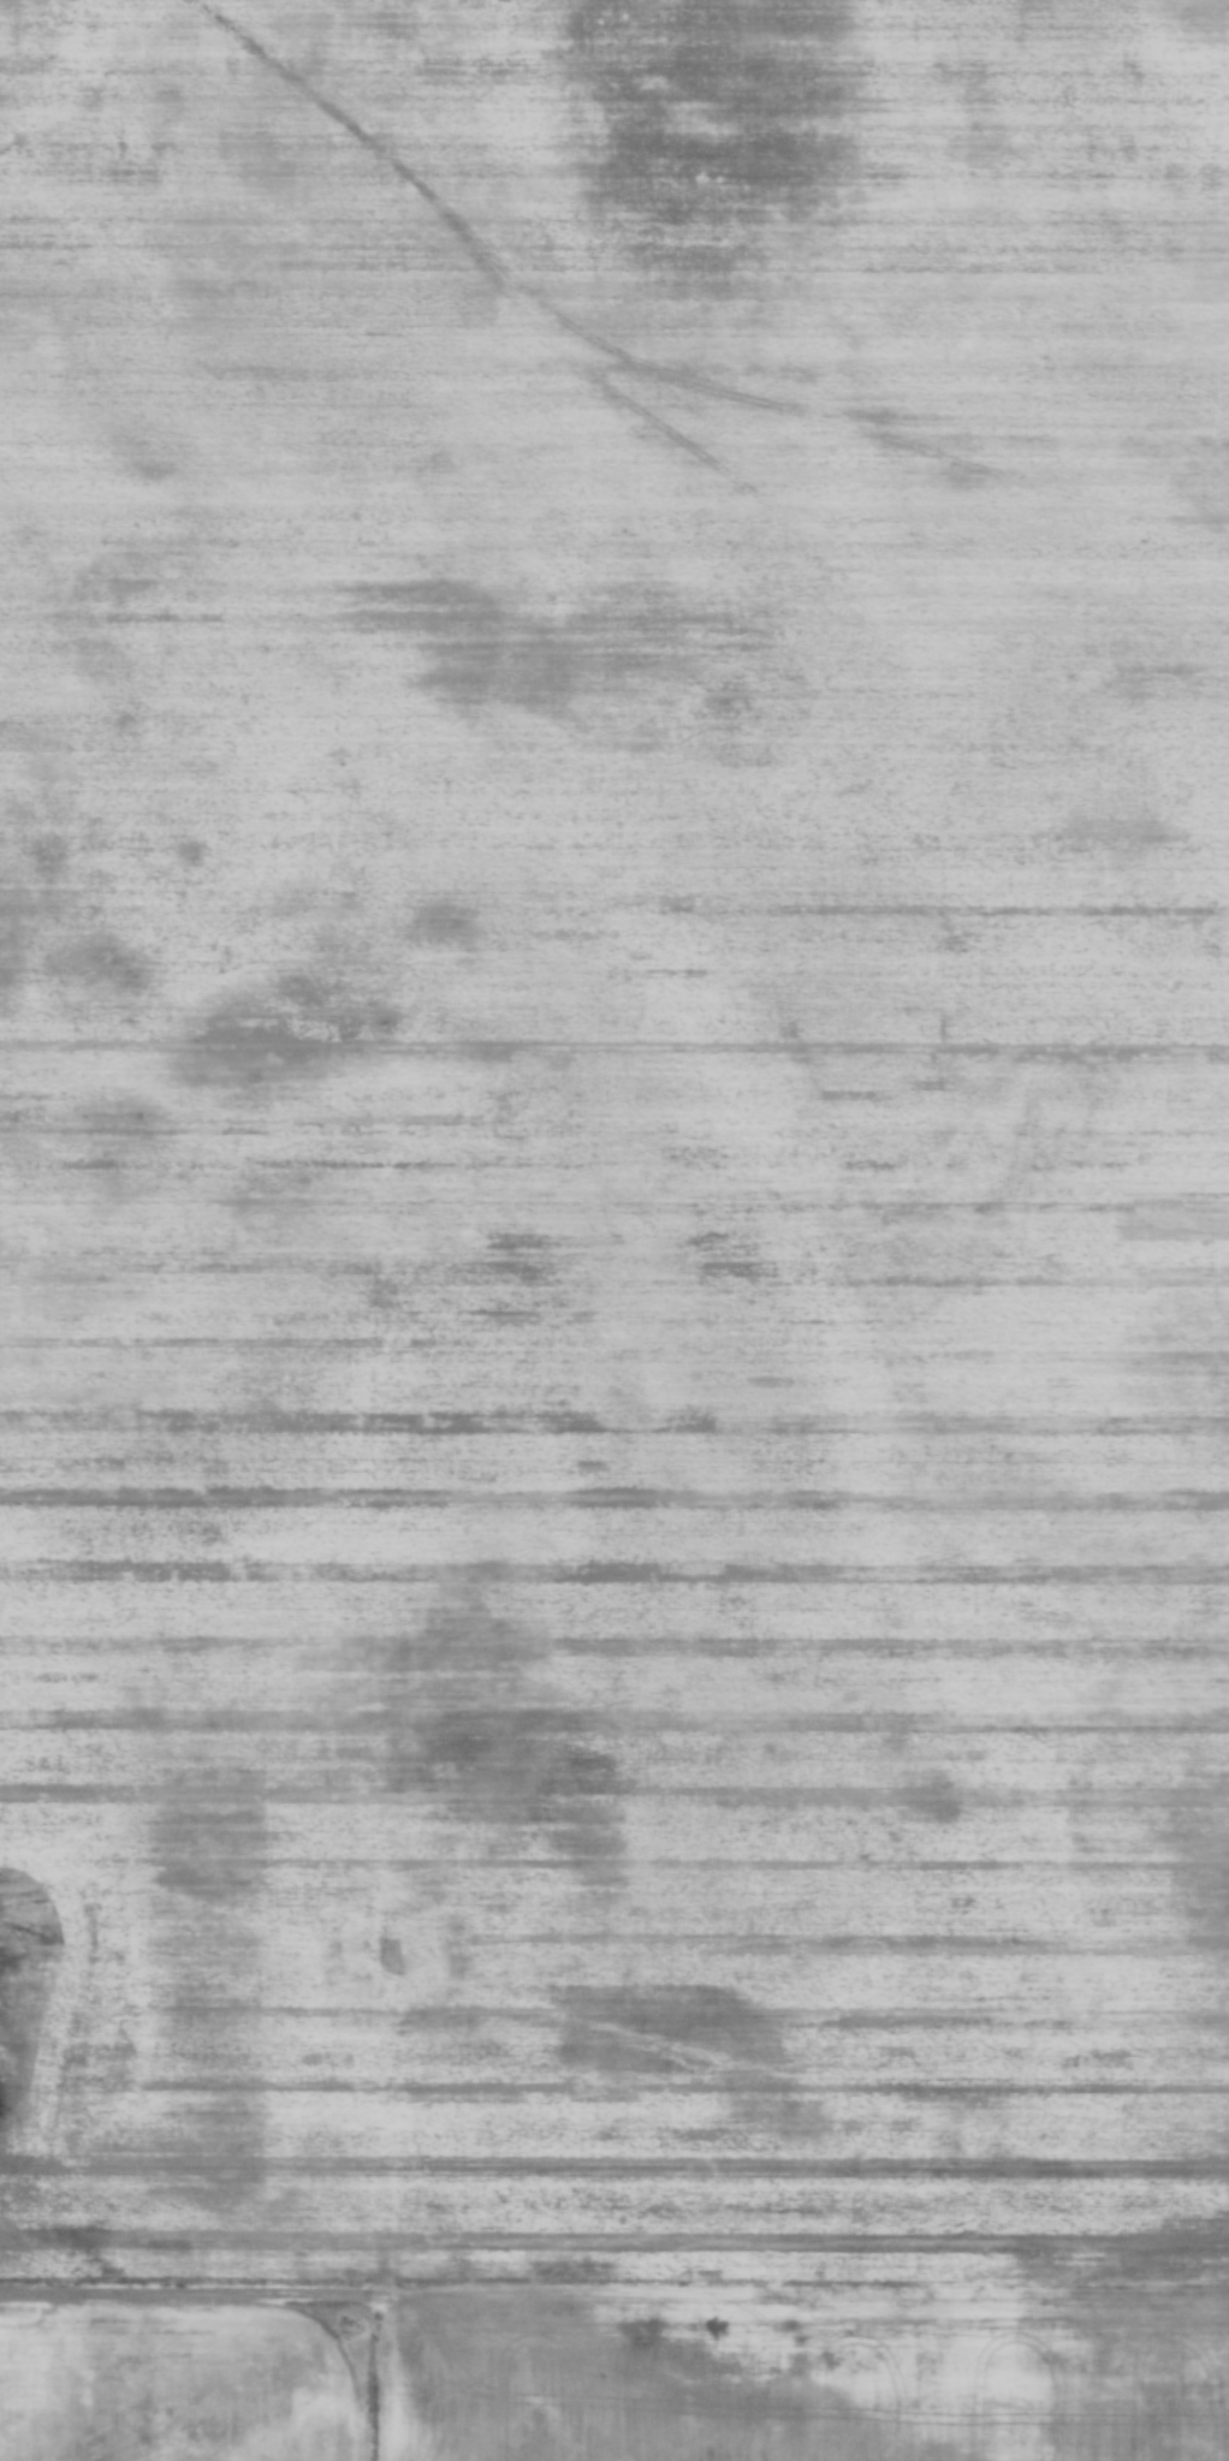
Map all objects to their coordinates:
road: (613, 2296)

